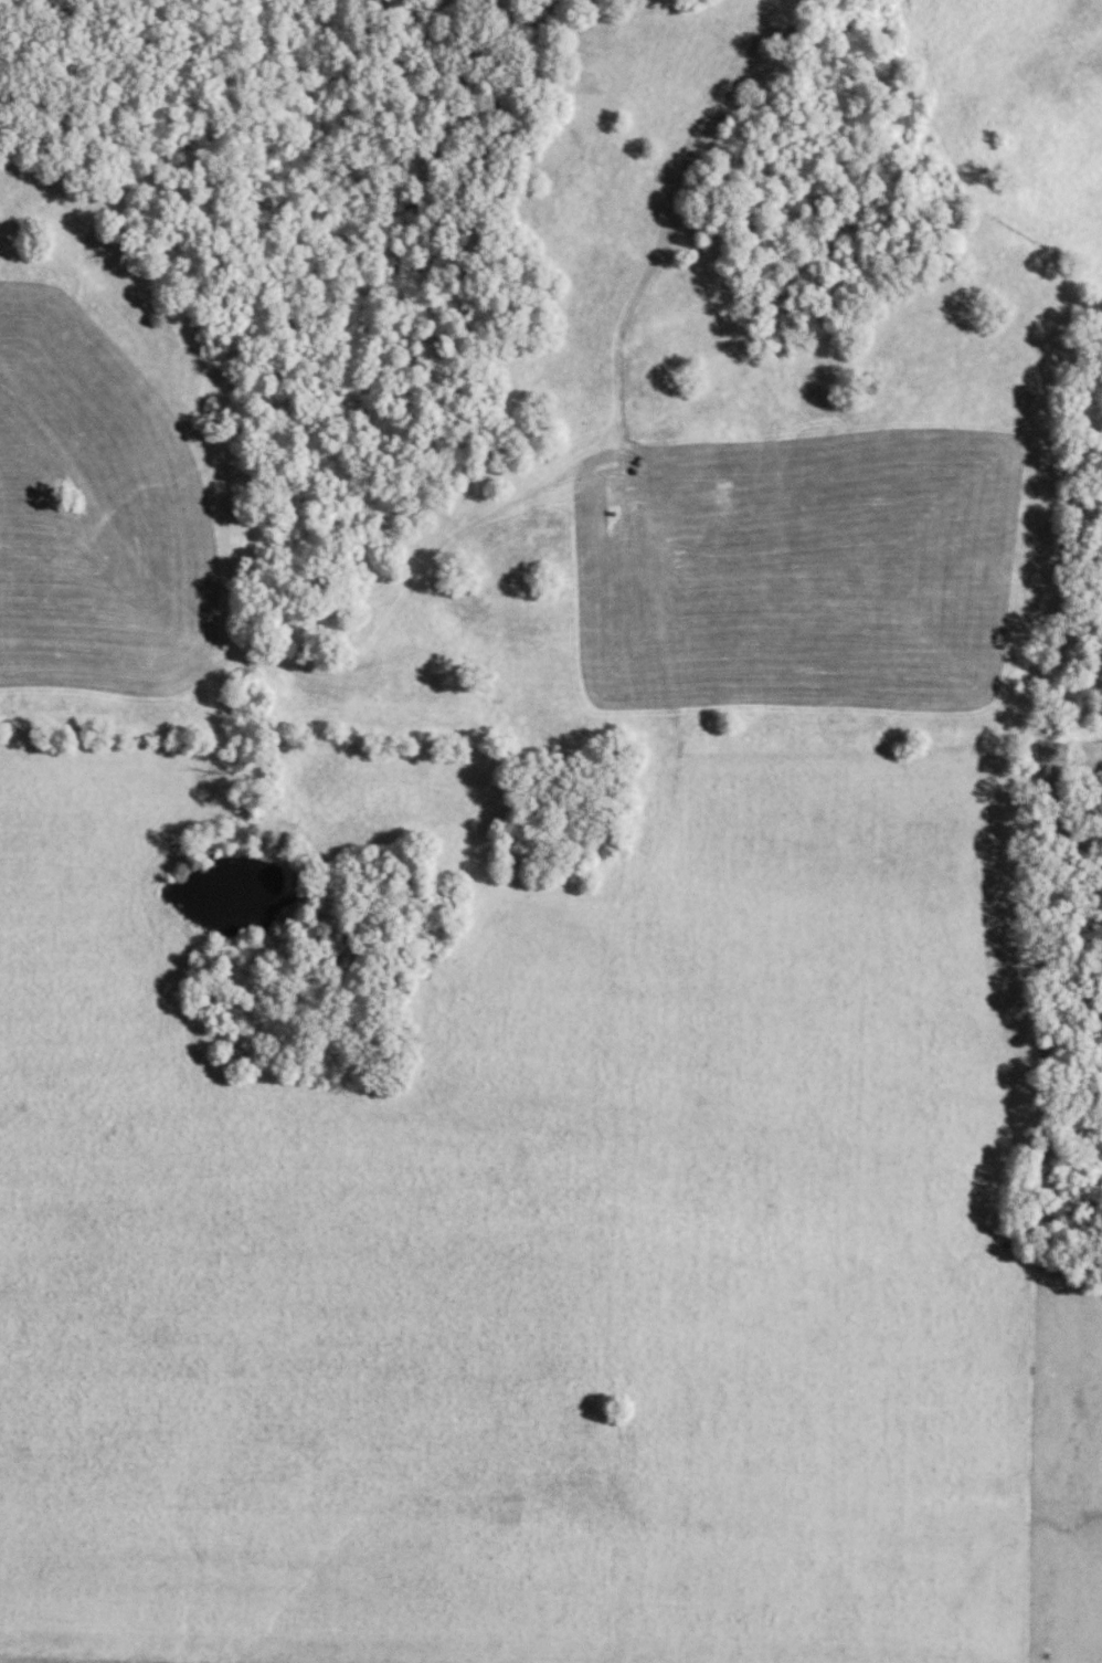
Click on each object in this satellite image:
building: (648, 797)

